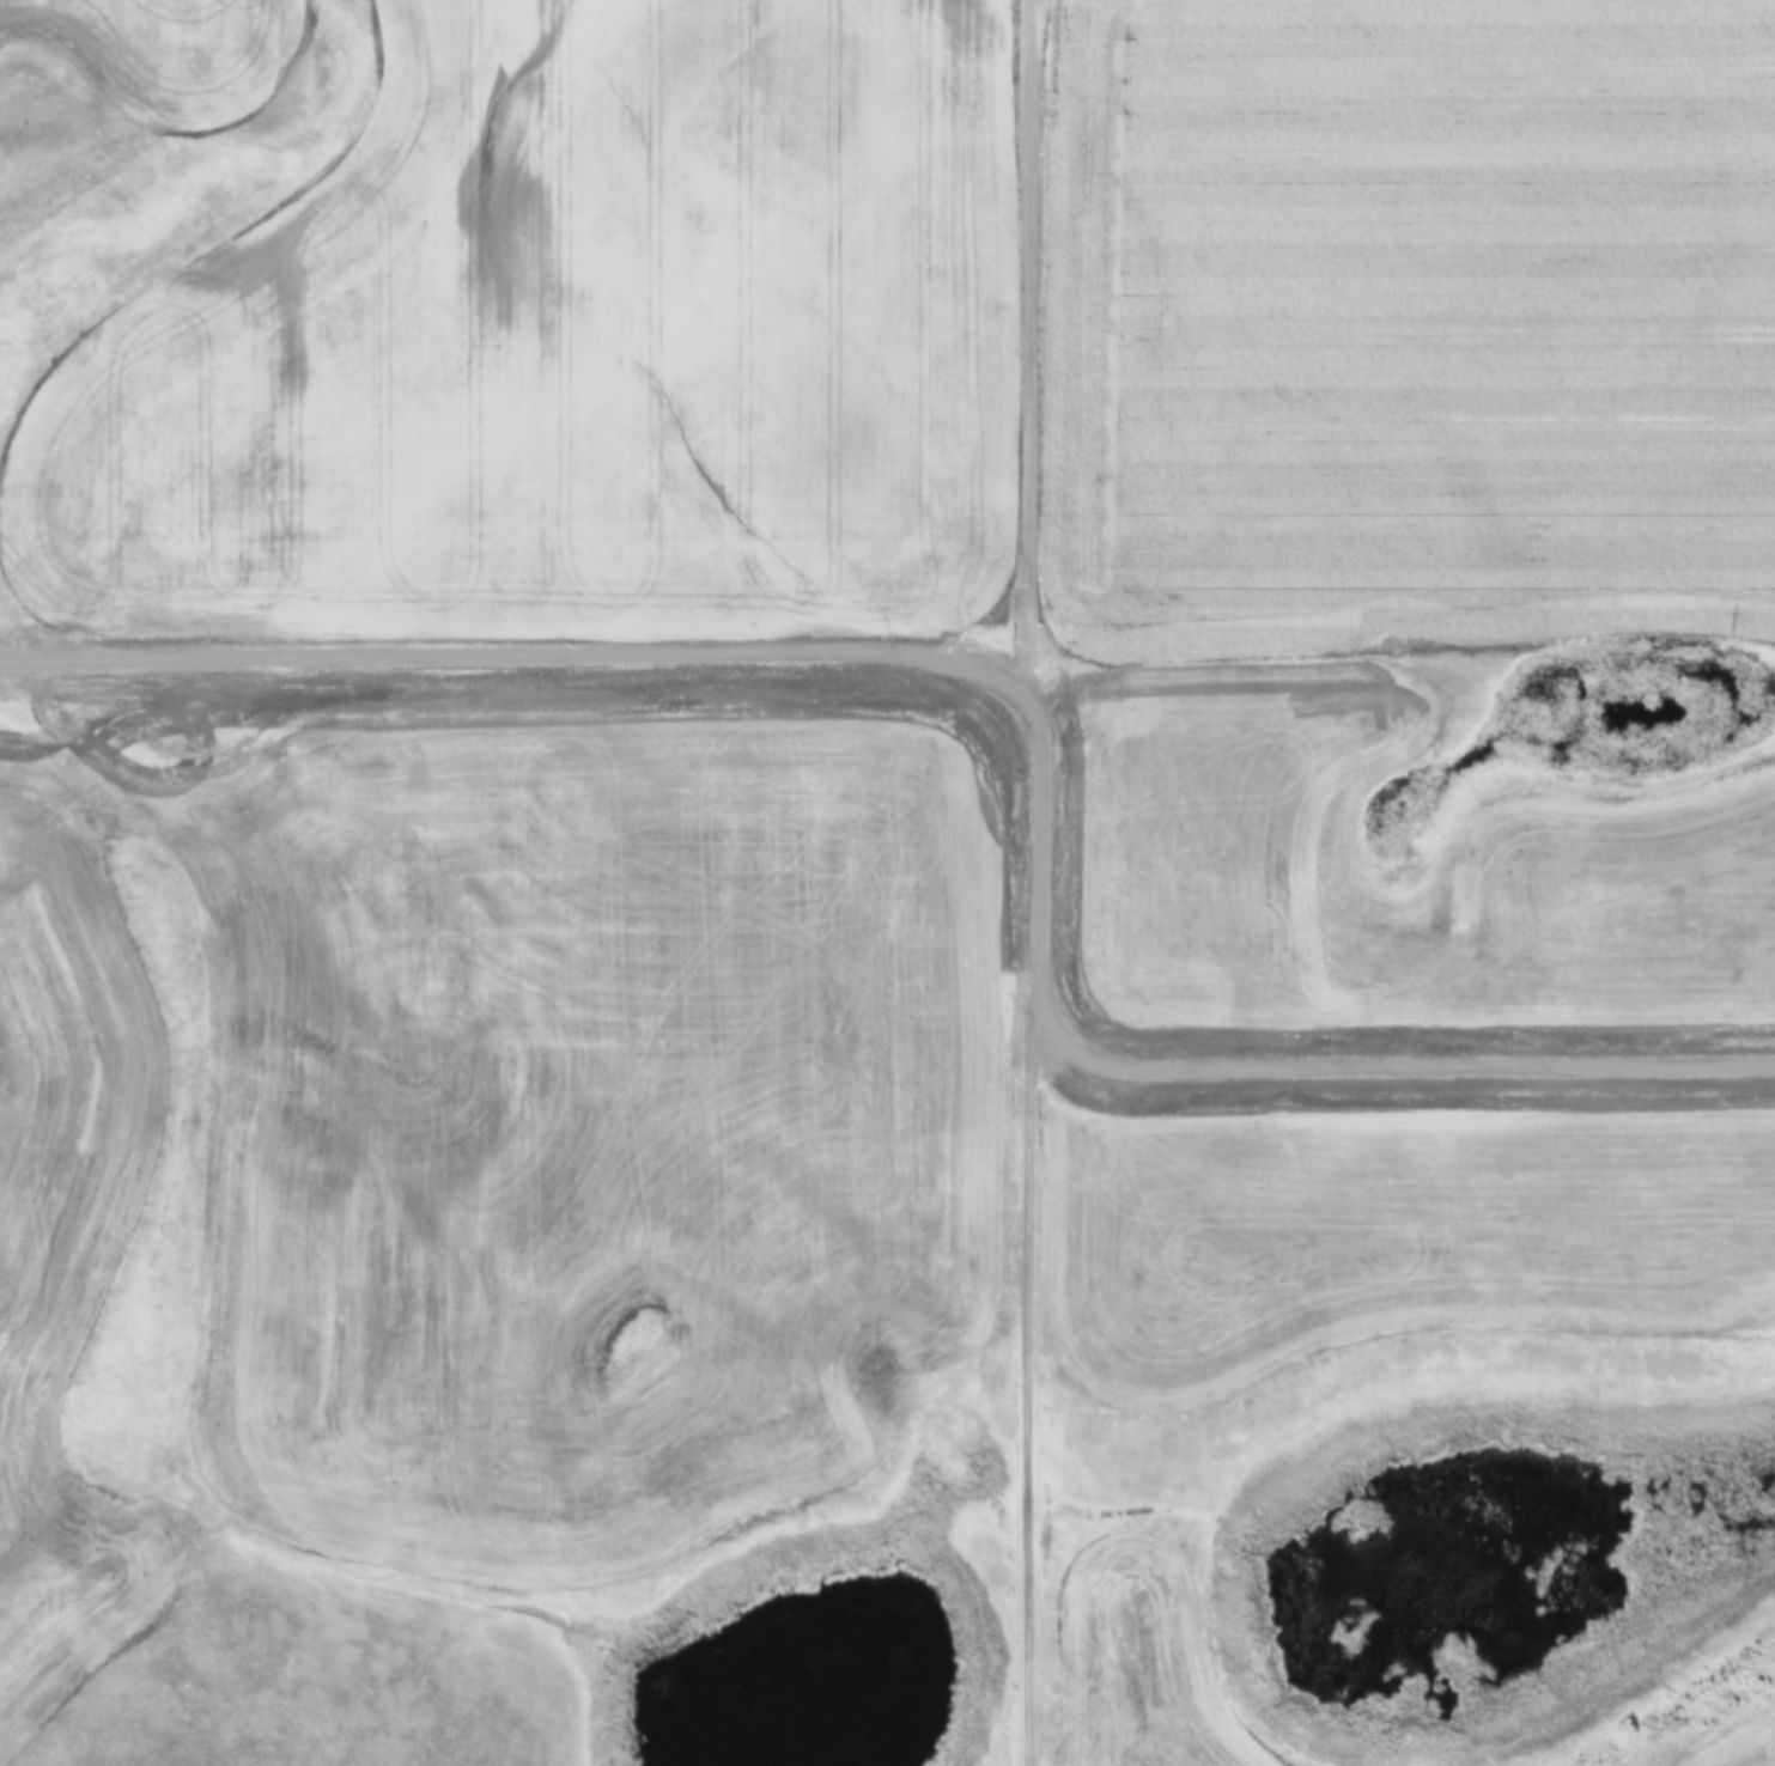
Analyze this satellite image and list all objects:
road: (523, 654)
road: (1031, 1223)

